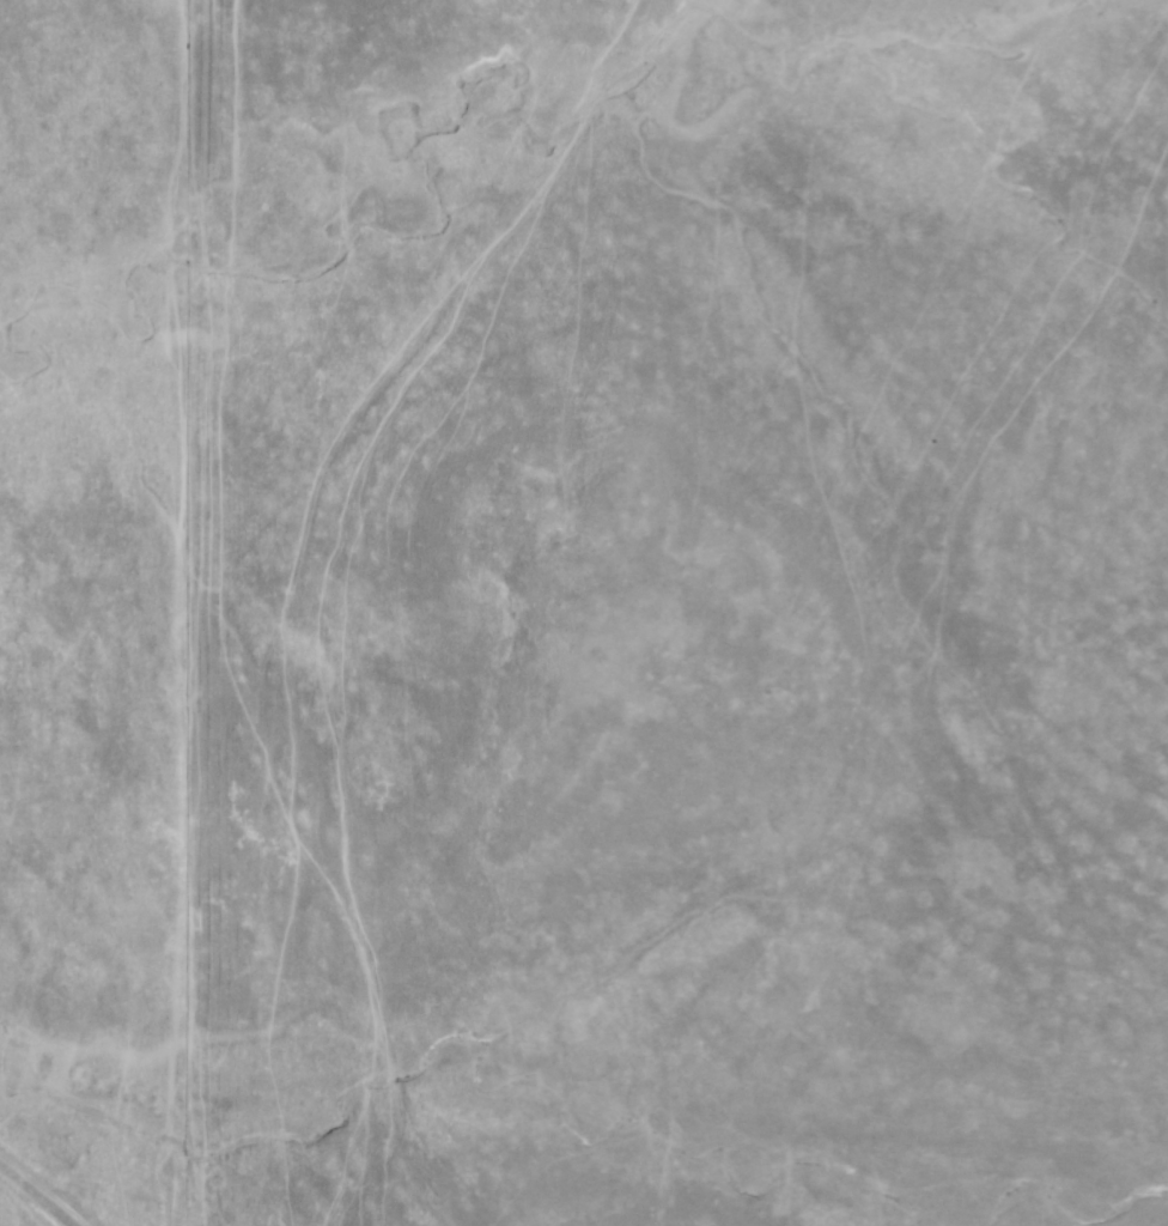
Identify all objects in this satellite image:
road: (39, 1191)

